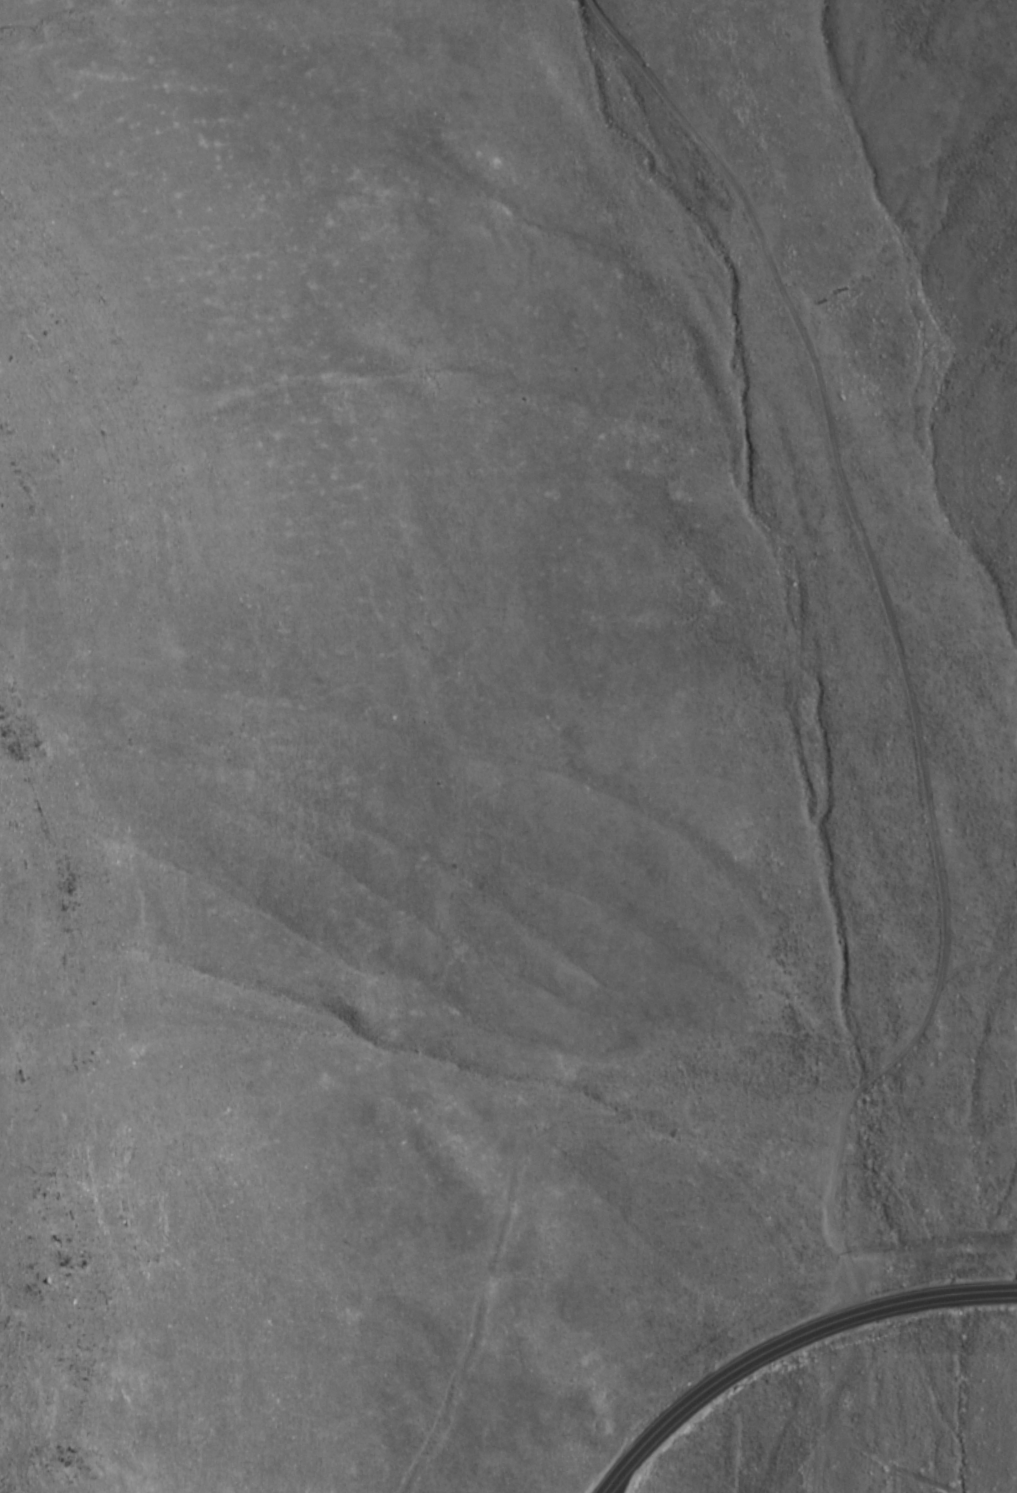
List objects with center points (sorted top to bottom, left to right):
road: (894, 645)
road: (980, 971)
road: (789, 1343)

